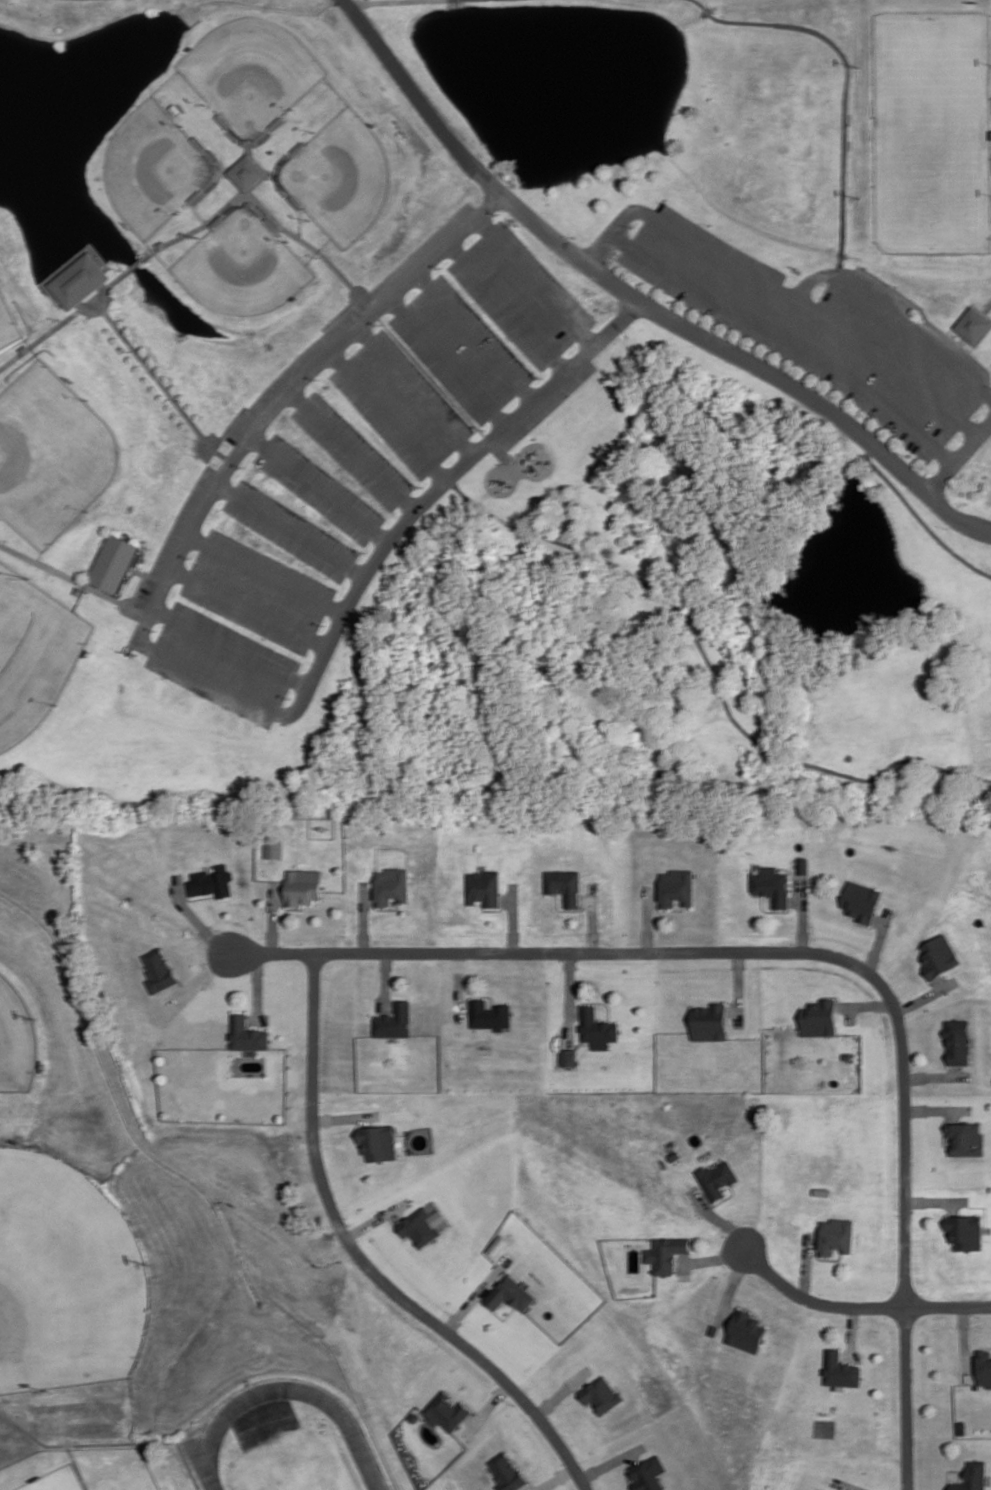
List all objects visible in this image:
road: (363, 1)
road: (700, 3)
road: (707, 10)
street lamp: (859, 64)
park: (254, 78)
road: (844, 93)
park: (931, 130)
park: (156, 168)
building: (247, 170)
park: (343, 178)
street lamp: (859, 194)
road: (266, 208)
street lamp: (499, 211)
street lamp: (634, 226)
street lamp: (441, 265)
road: (136, 267)
park: (244, 267)
road: (538, 277)
building: (79, 279)
road: (784, 291)
street lamp: (671, 300)
road: (639, 301)
road: (507, 305)
road: (986, 307)
road: (341, 310)
road: (896, 317)
road: (925, 319)
road: (62, 321)
park: (10, 322)
street lamp: (379, 322)
road: (952, 325)
building: (972, 325)
parking lot: (820, 328)
road: (474, 335)
road: (790, 338)
road: (959, 338)
road: (447, 359)
street lamp: (542, 376)
street lamp: (317, 378)
road: (161, 381)
road: (415, 389)
park: (496, 401)
road: (387, 414)
road: (352, 449)
street lamp: (908, 453)
park: (54, 456)
road: (960, 457)
parking lot: (357, 460)
street lamp: (423, 486)
road: (319, 488)
road: (919, 516)
street lamp: (949, 526)
road: (291, 528)
street lamp: (366, 550)
street lamp: (192, 556)
building: (113, 561)
road: (138, 570)
road: (266, 571)
road: (75, 578)
road: (138, 587)
road: (248, 606)
street lamp: (325, 623)
street lamp: (155, 629)
road: (230, 645)
park: (34, 654)
road: (711, 667)
road: (197, 671)
street lamp: (289, 696)
building: (274, 846)
building: (803, 864)
building: (212, 880)
building: (391, 884)
building: (566, 884)
building: (771, 884)
building: (302, 885)
building: (677, 886)
building: (484, 887)
road: (197, 896)
building: (861, 900)
road: (289, 907)
road: (384, 908)
road: (567, 909)
road: (802, 913)
road: (273, 915)
road: (364, 915)
road: (594, 915)
road: (514, 916)
road: (648, 917)
road: (195, 918)
road: (867, 924)
road: (878, 942)
road: (594, 950)
road: (272, 951)
building: (939, 955)
building: (159, 970)
road: (385, 980)
road: (458, 984)
road: (257, 986)
road: (739, 987)
road: (481, 994)
road: (926, 995)
road: (570, 997)
road: (597, 1001)
road: (865, 1004)
building: (489, 1013)
building: (819, 1017)
building: (394, 1020)
building: (710, 1021)
building: (597, 1025)
building: (247, 1033)
park: (19, 1040)
building: (958, 1040)
road: (584, 1042)
road: (584, 1051)
building: (847, 1055)
building: (568, 1056)
road: (936, 1075)
road: (937, 1109)
road: (346, 1116)
road: (905, 1134)
building: (966, 1137)
building: (378, 1141)
building: (674, 1155)
building: (717, 1177)
road: (725, 1197)
road: (935, 1200)
road: (985, 1207)
road: (718, 1218)
building: (422, 1226)
building: (965, 1230)
building: (835, 1235)
building: (497, 1244)
building: (665, 1253)
road: (713, 1258)
road: (828, 1258)
road: (365, 1261)
road: (805, 1265)
park: (69, 1276)
road: (731, 1286)
building: (511, 1292)
road: (477, 1294)
road: (815, 1301)
road: (948, 1305)
road: (497, 1313)
building: (714, 1329)
building: (746, 1330)
road: (852, 1332)
road: (964, 1342)
building: (984, 1366)
building: (840, 1369)
building: (601, 1395)
road: (905, 1397)
building: (447, 1412)
park: (285, 1441)
road: (110, 1445)
road: (612, 1461)
road: (75, 1468)
road: (949, 1470)
building: (507, 1472)
road: (626, 1473)
building: (648, 1474)
building: (973, 1477)
road: (847, 1485)
road: (849, 1488)
building: (817, 1489)
building: (821, 1489)

